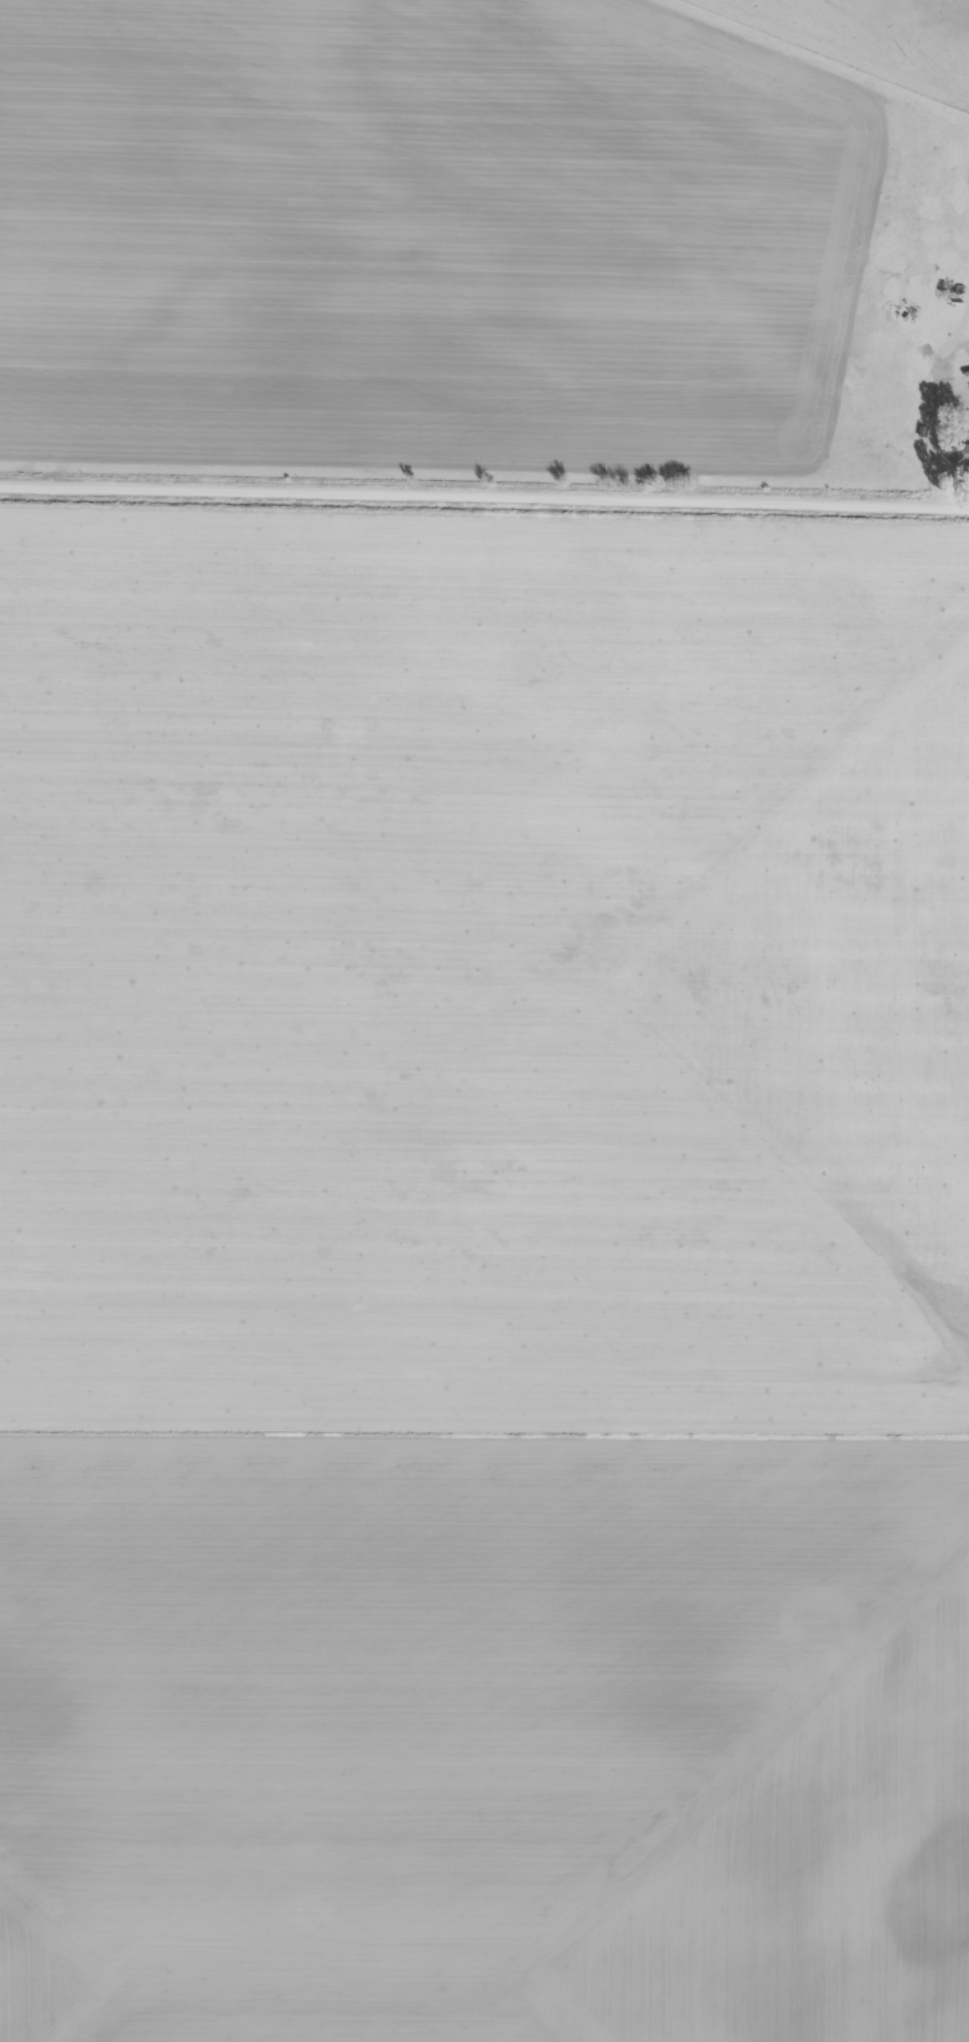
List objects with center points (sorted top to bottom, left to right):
building: (953, 295)
building: (960, 455)
road: (484, 503)

